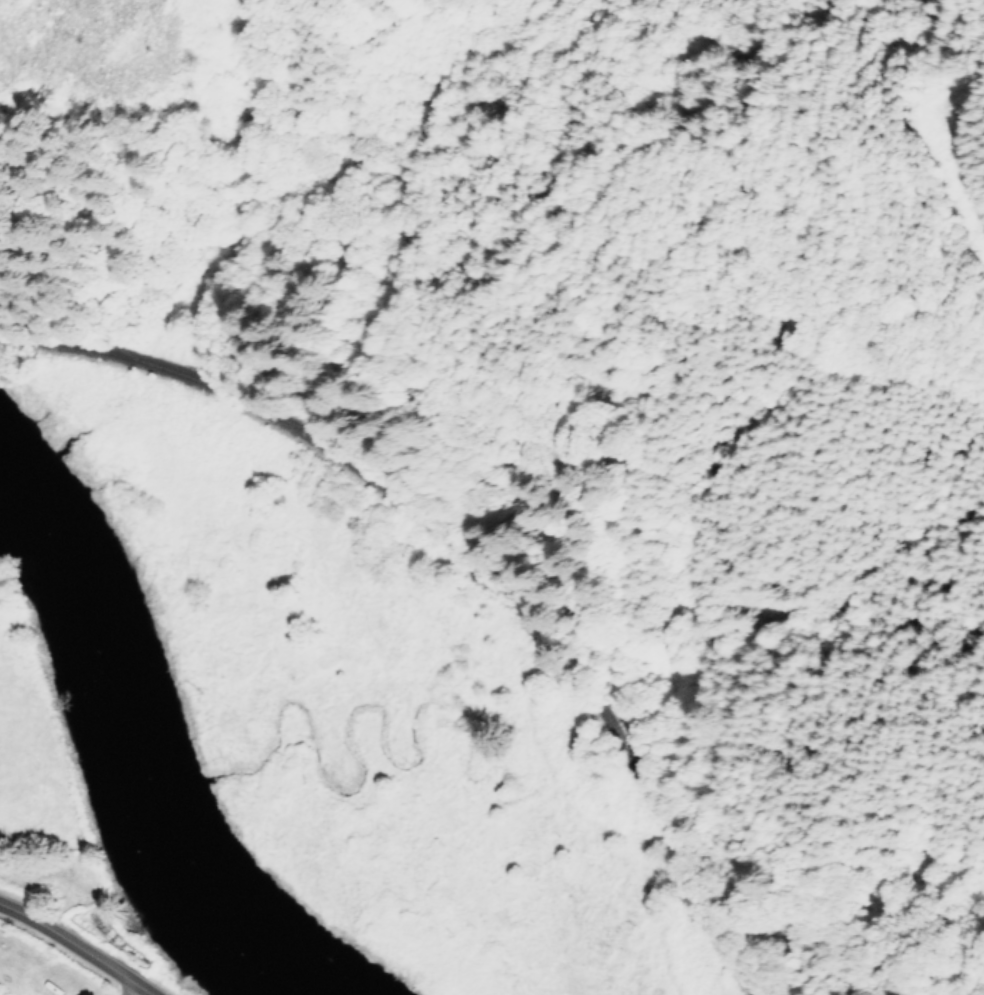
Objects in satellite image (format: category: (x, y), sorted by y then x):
road: (958, 195)
railway: (464, 556)
river: (133, 744)
road: (77, 947)
road: (124, 987)

